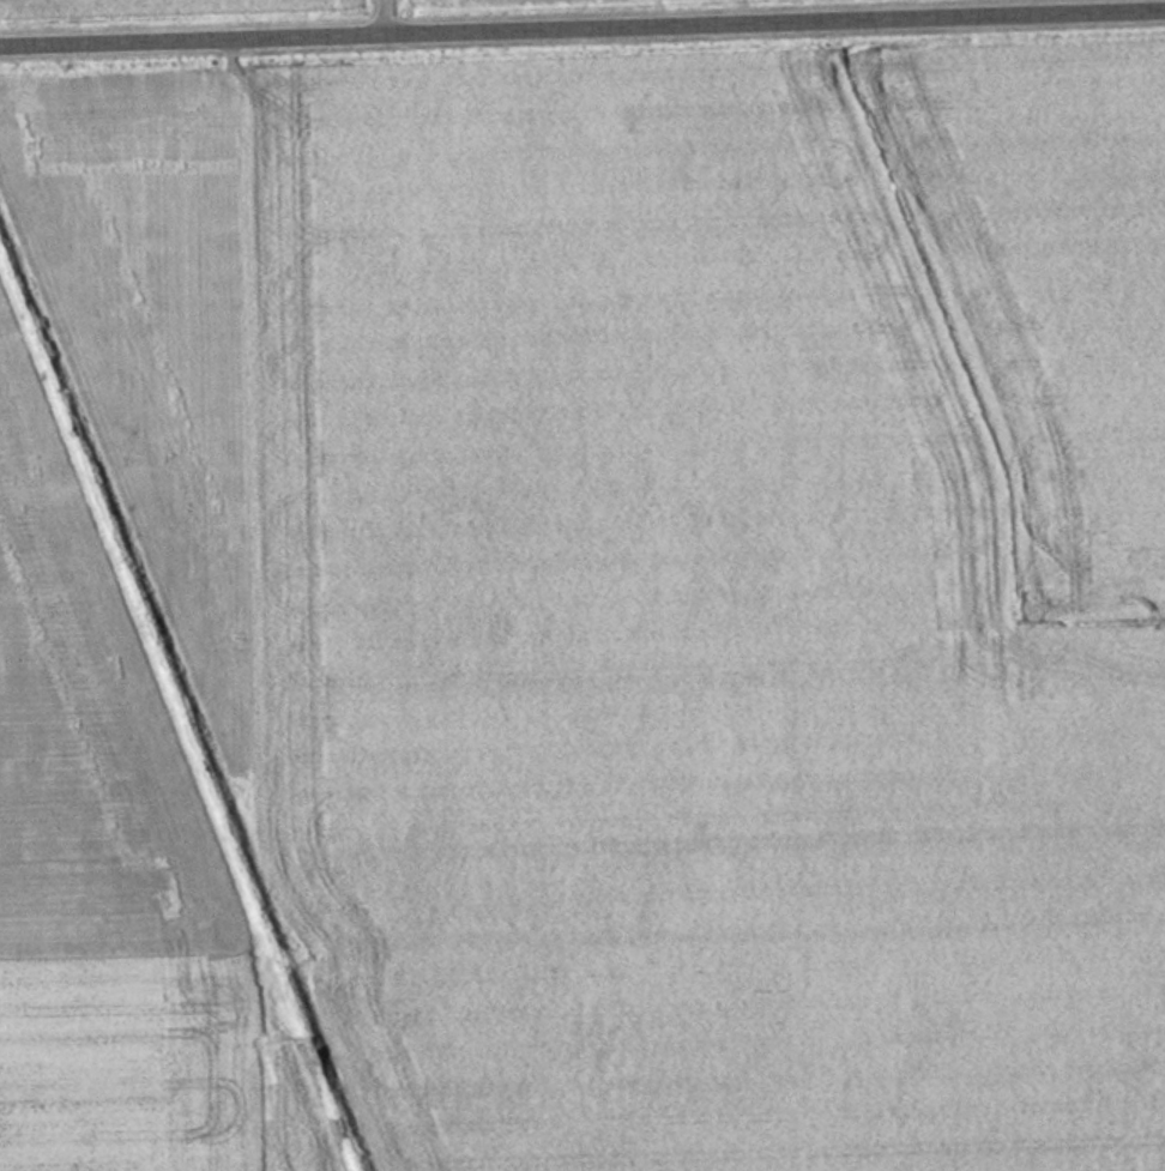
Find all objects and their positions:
road: (390, 17)
road: (582, 29)

